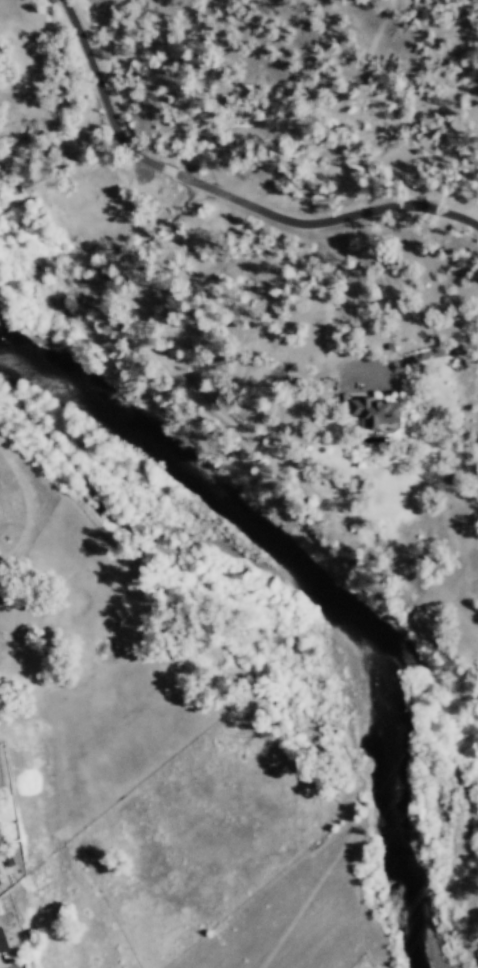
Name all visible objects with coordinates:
road: (218, 194)
river: (59, 386)
building: (375, 414)
river: (381, 636)
building: (0, 881)
building: (2, 942)

